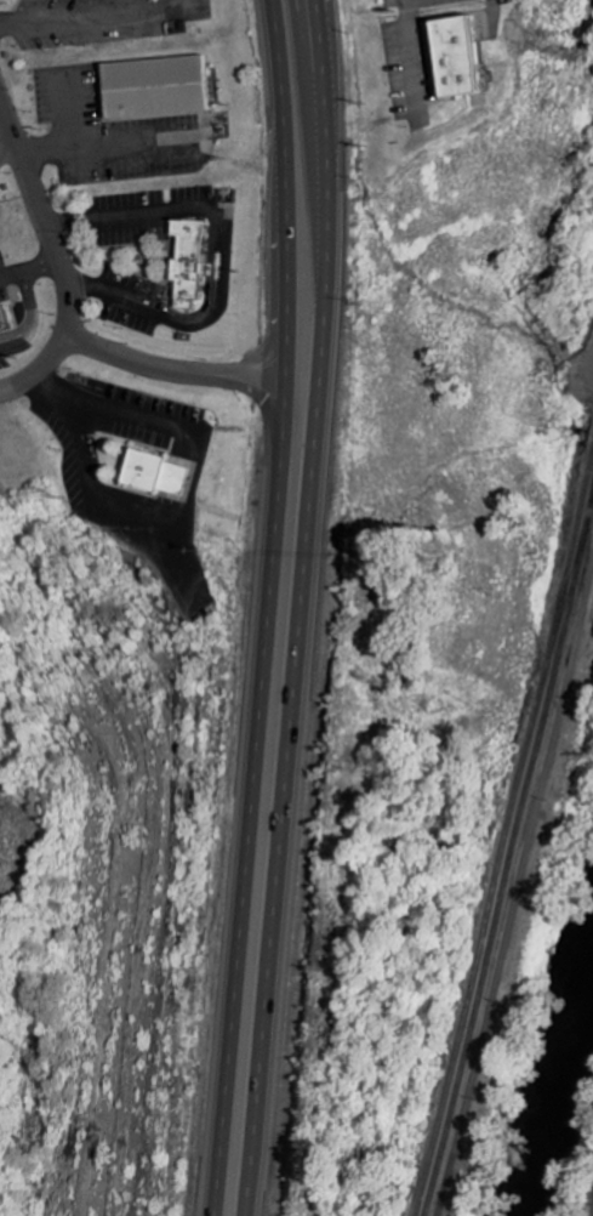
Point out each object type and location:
road: (101, 12)
building: (455, 58)
building: (158, 84)
building: (190, 258)
road: (56, 265)
building: (4, 317)
road: (171, 370)
building: (153, 476)
road: (264, 608)
road: (303, 608)
railway: (501, 833)
railway: (507, 859)
road: (517, 899)
river: (572, 1130)
building: (592, 1214)
parking lot: (592, 1214)

